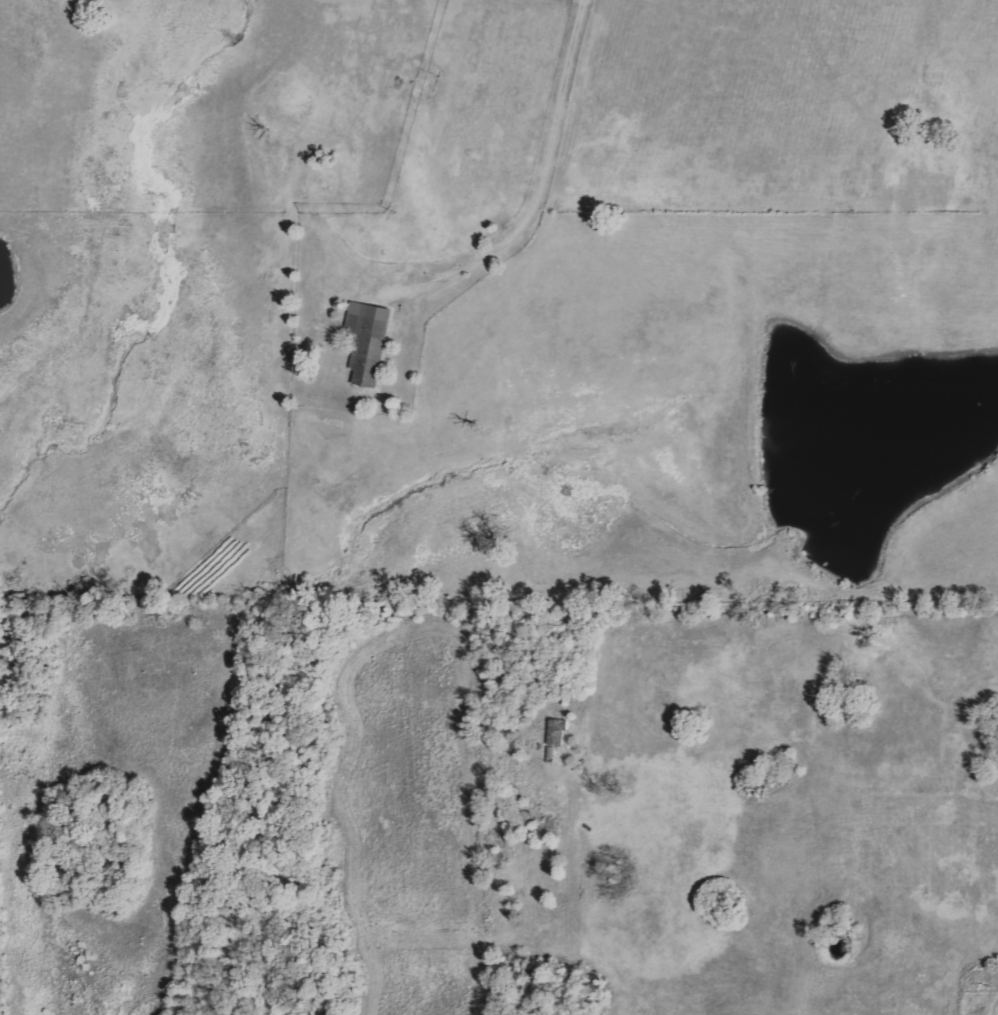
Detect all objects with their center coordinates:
building: (369, 342)
building: (558, 731)

